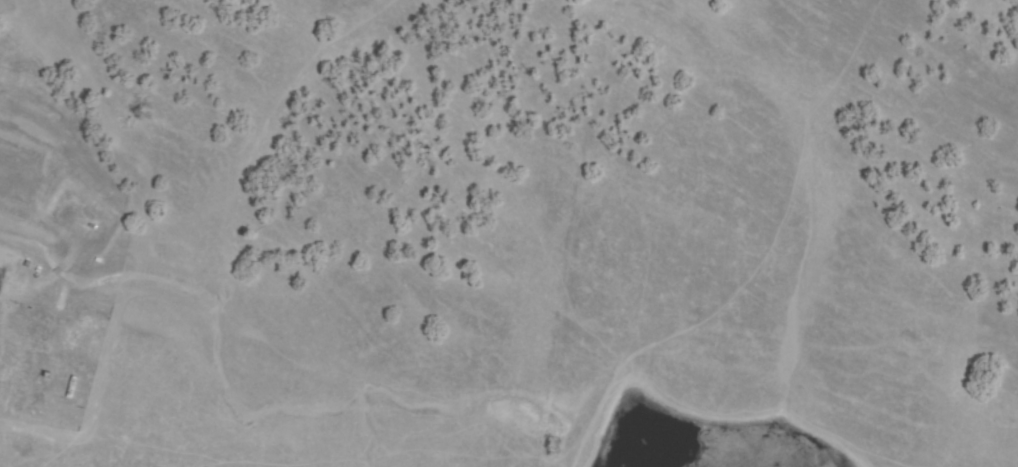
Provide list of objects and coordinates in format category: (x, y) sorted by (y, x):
building: (71, 389)

